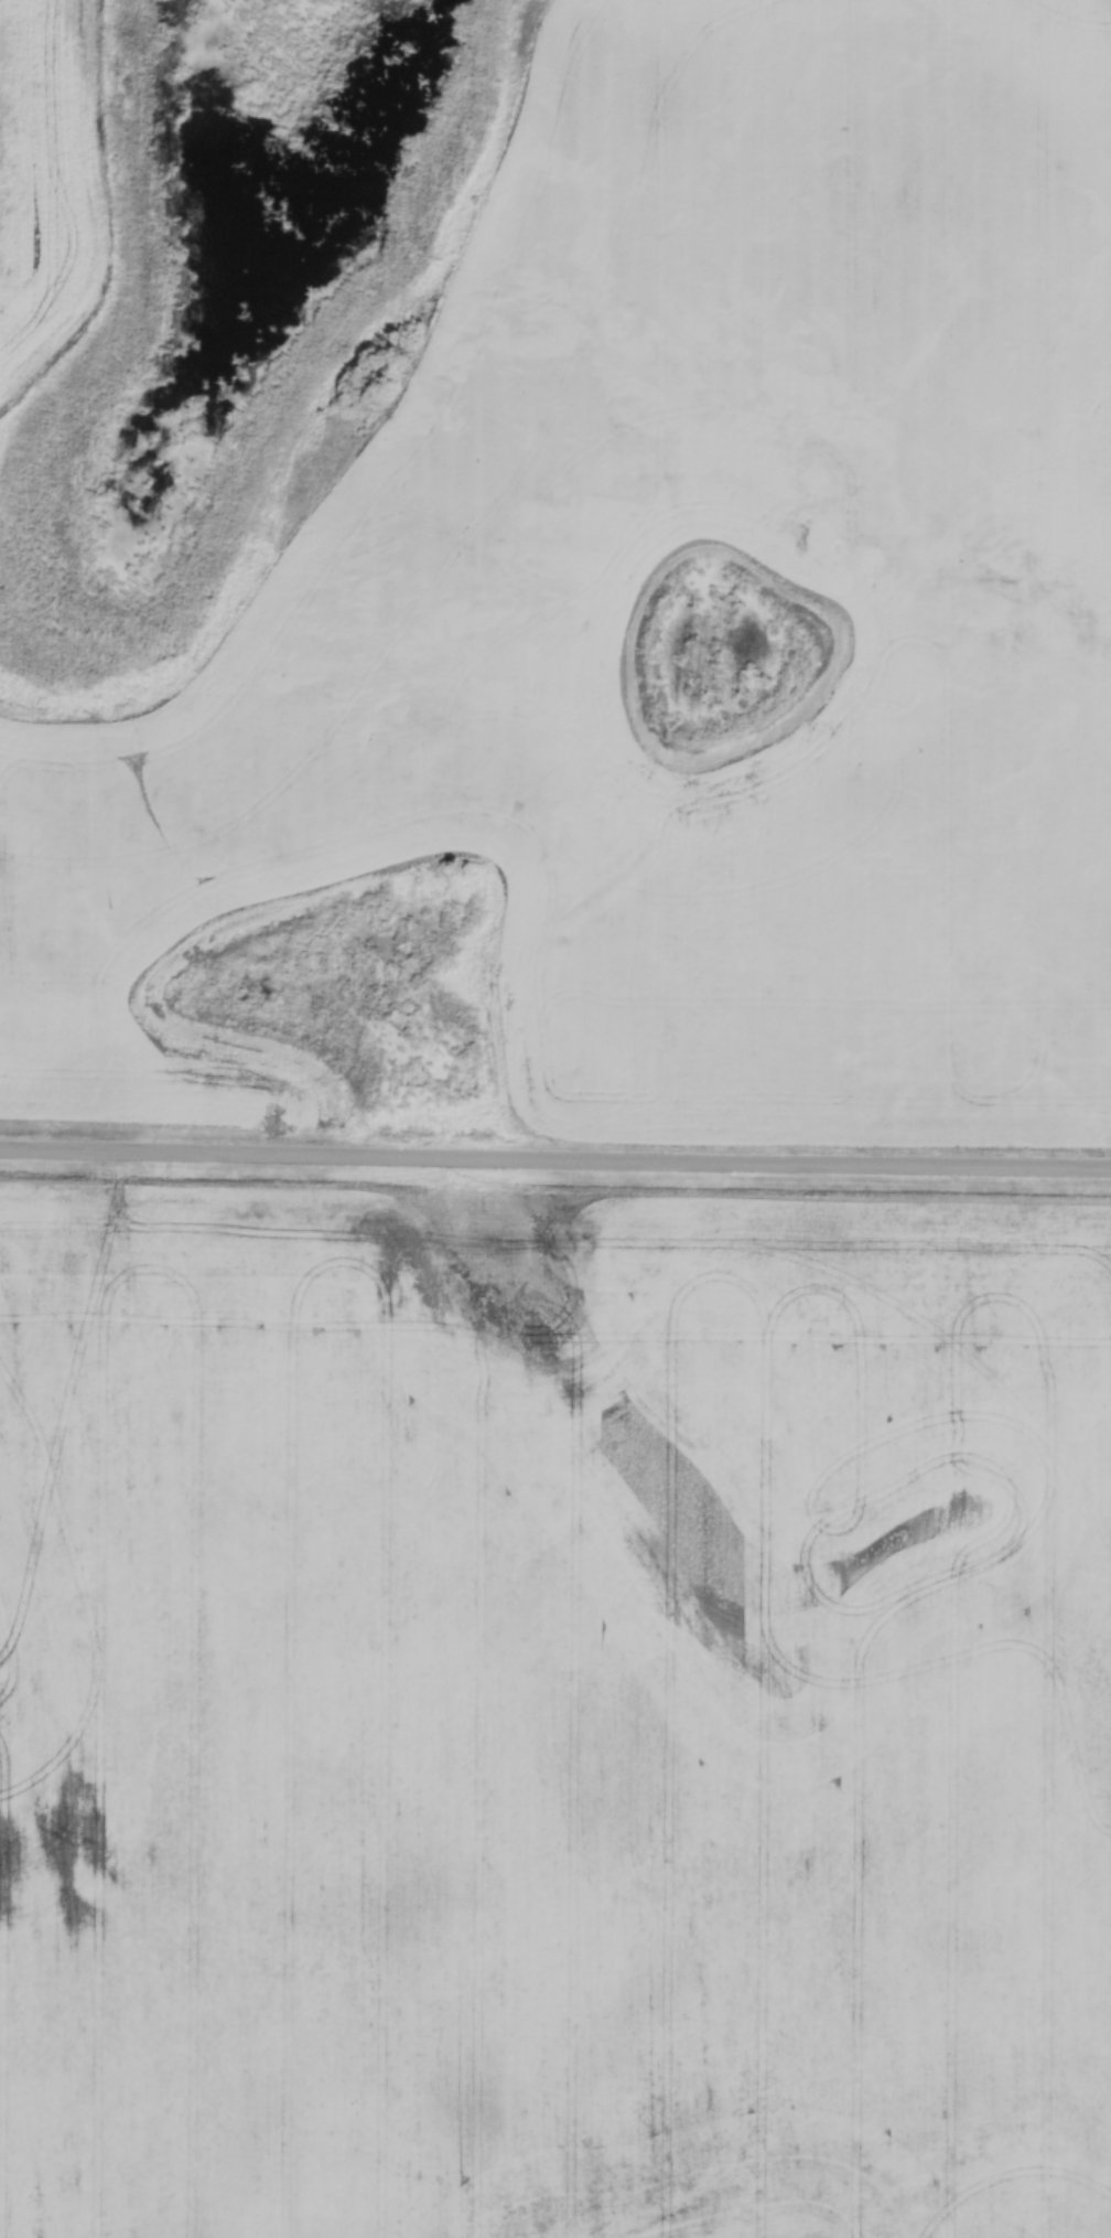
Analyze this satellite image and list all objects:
road: (555, 1157)

